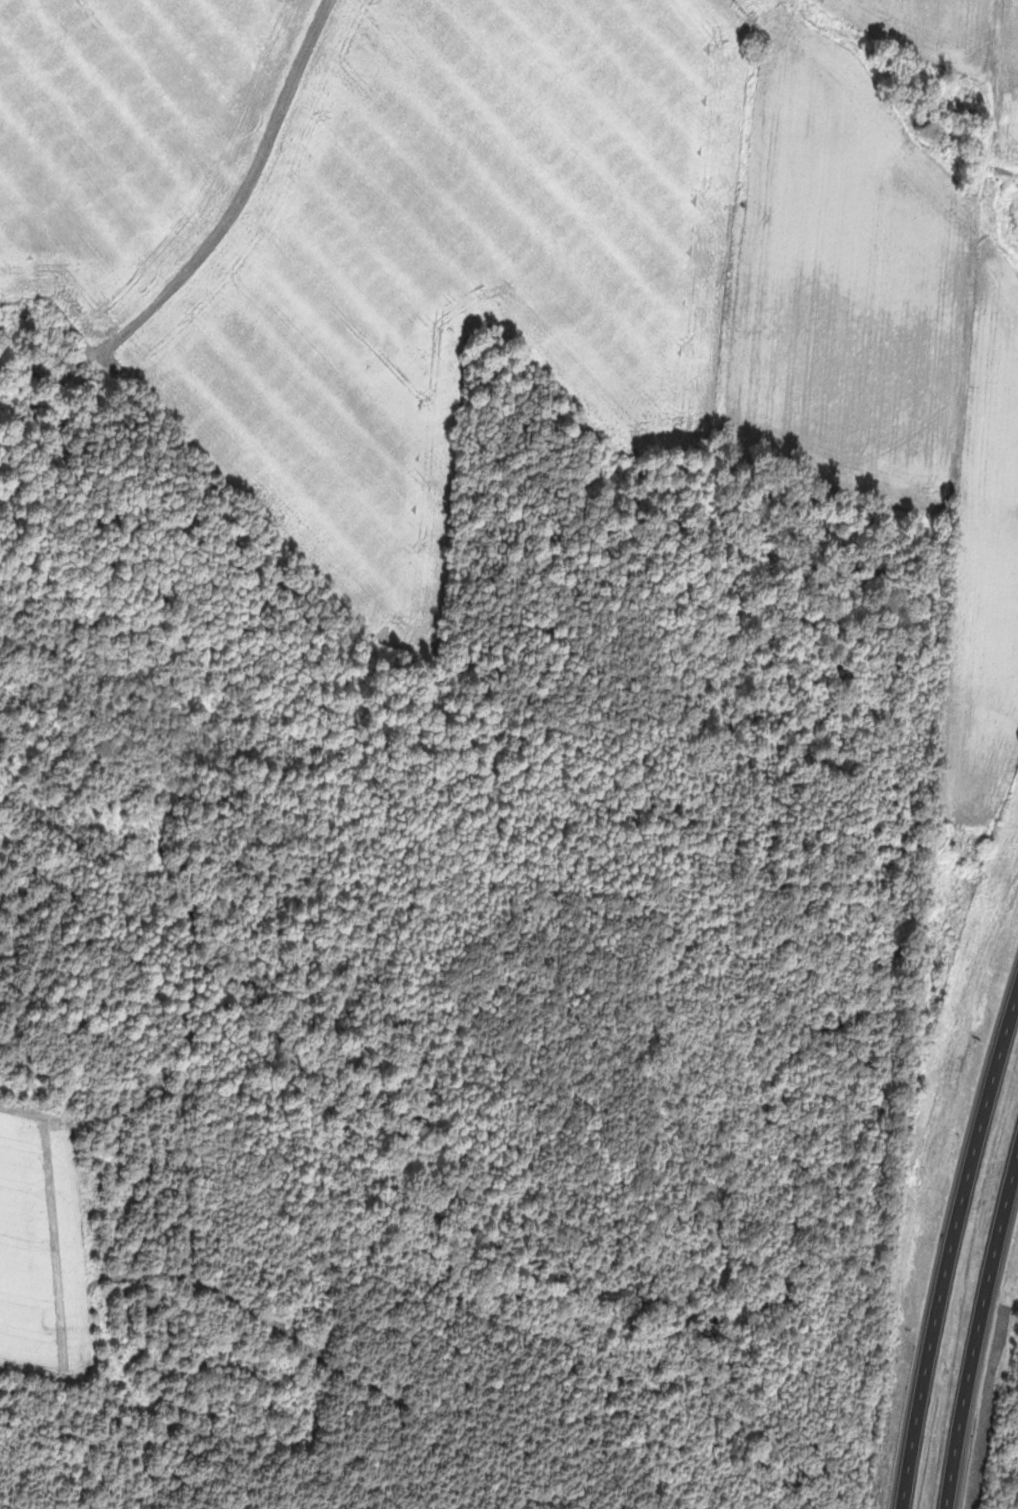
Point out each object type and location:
road: (949, 1262)
road: (981, 1356)

